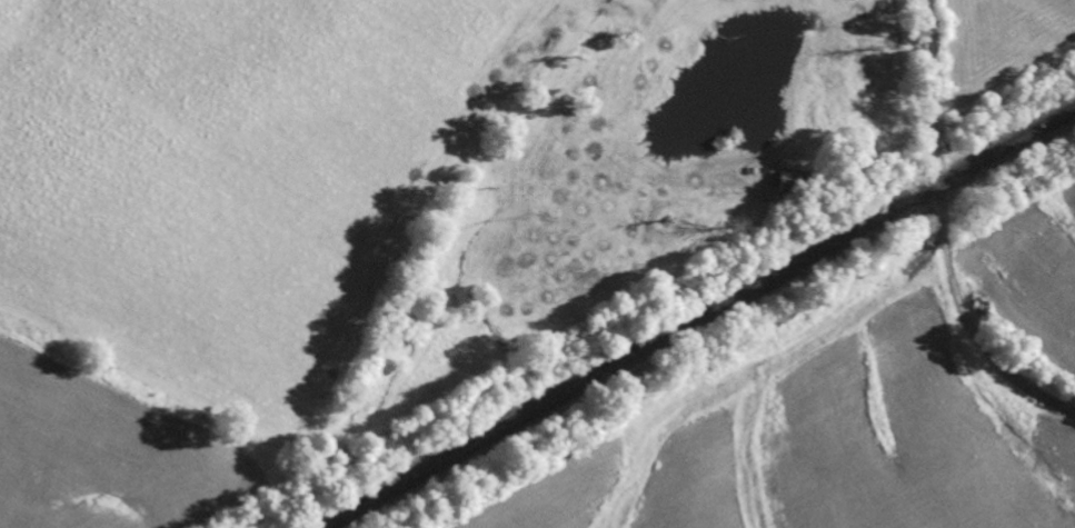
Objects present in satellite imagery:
building: (786, 186)
road: (939, 237)
railway: (699, 317)

